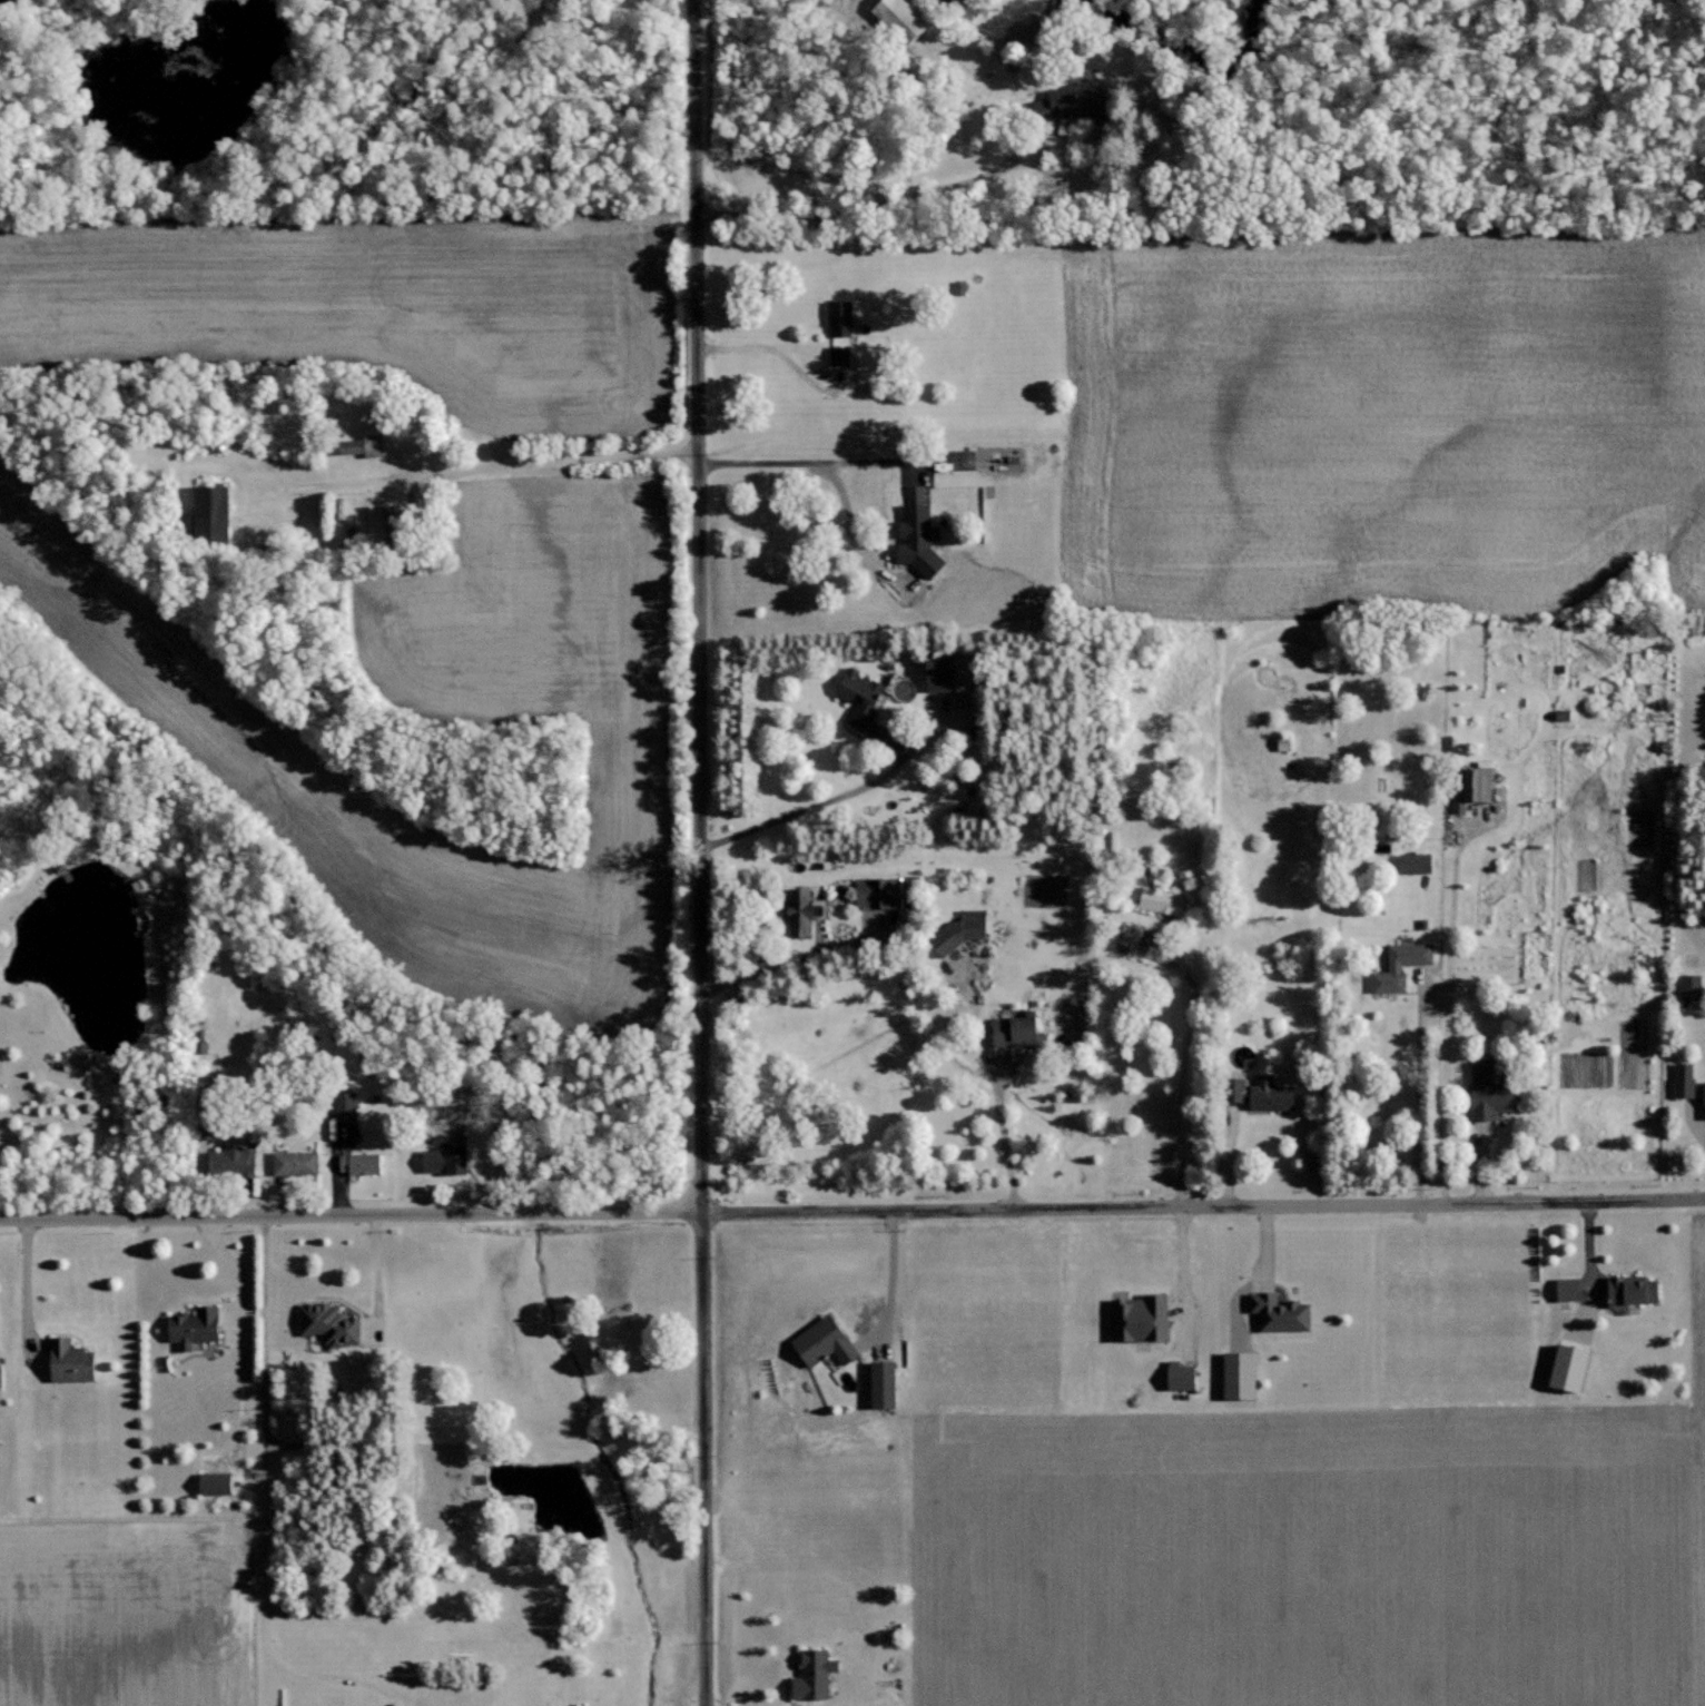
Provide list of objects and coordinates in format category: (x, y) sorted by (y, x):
building: (905, 18)
building: (1064, 101)
building: (839, 317)
road: (770, 349)
building: (839, 355)
building: (361, 445)
road: (808, 461)
road: (551, 467)
building: (215, 513)
building: (913, 516)
building: (934, 673)
building: (858, 698)
building: (1282, 742)
building: (1474, 787)
road: (699, 852)
building: (1413, 862)
building: (875, 893)
building: (1159, 900)
building: (800, 909)
building: (958, 931)
building: (1398, 965)
building: (1689, 987)
building: (1012, 1030)
road: (1184, 1076)
building: (1683, 1079)
building: (1256, 1093)
building: (1484, 1093)
building: (1703, 1099)
building: (348, 1106)
building: (450, 1160)
building: (238, 1161)
building: (299, 1163)
building: (363, 1164)
road: (1203, 1205)
road: (349, 1214)
road: (27, 1284)
building: (1564, 1289)
building: (1629, 1291)
building: (1277, 1312)
building: (1136, 1318)
building: (333, 1324)
building: (198, 1327)
building: (820, 1342)
building: (76, 1362)
building: (1564, 1368)
building: (1236, 1374)
building: (1179, 1375)
building: (880, 1384)
building: (220, 1483)
road: (258, 1506)
building: (810, 1674)

